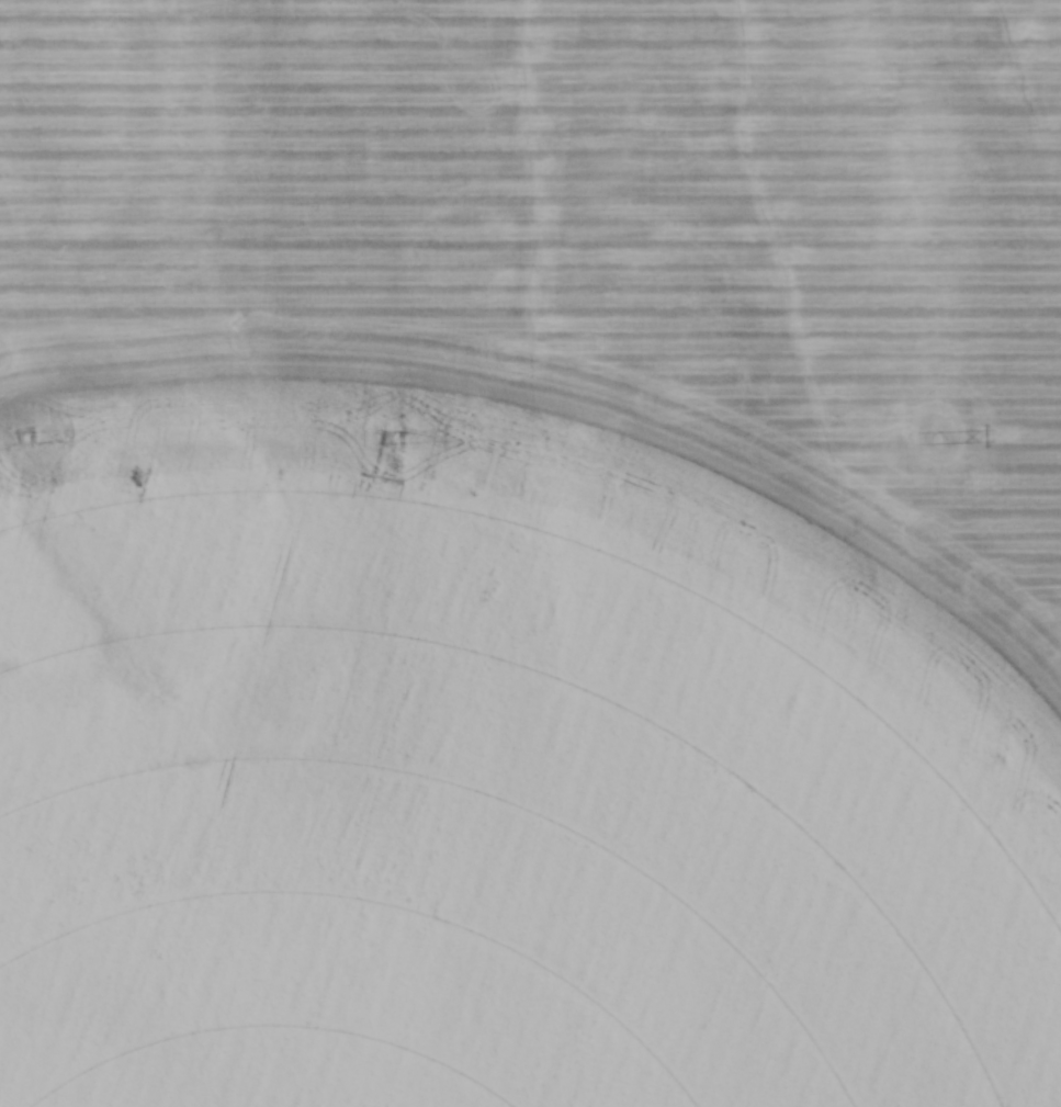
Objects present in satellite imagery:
power tower: (32, 440)
power tower: (393, 440)
power tower: (944, 442)

